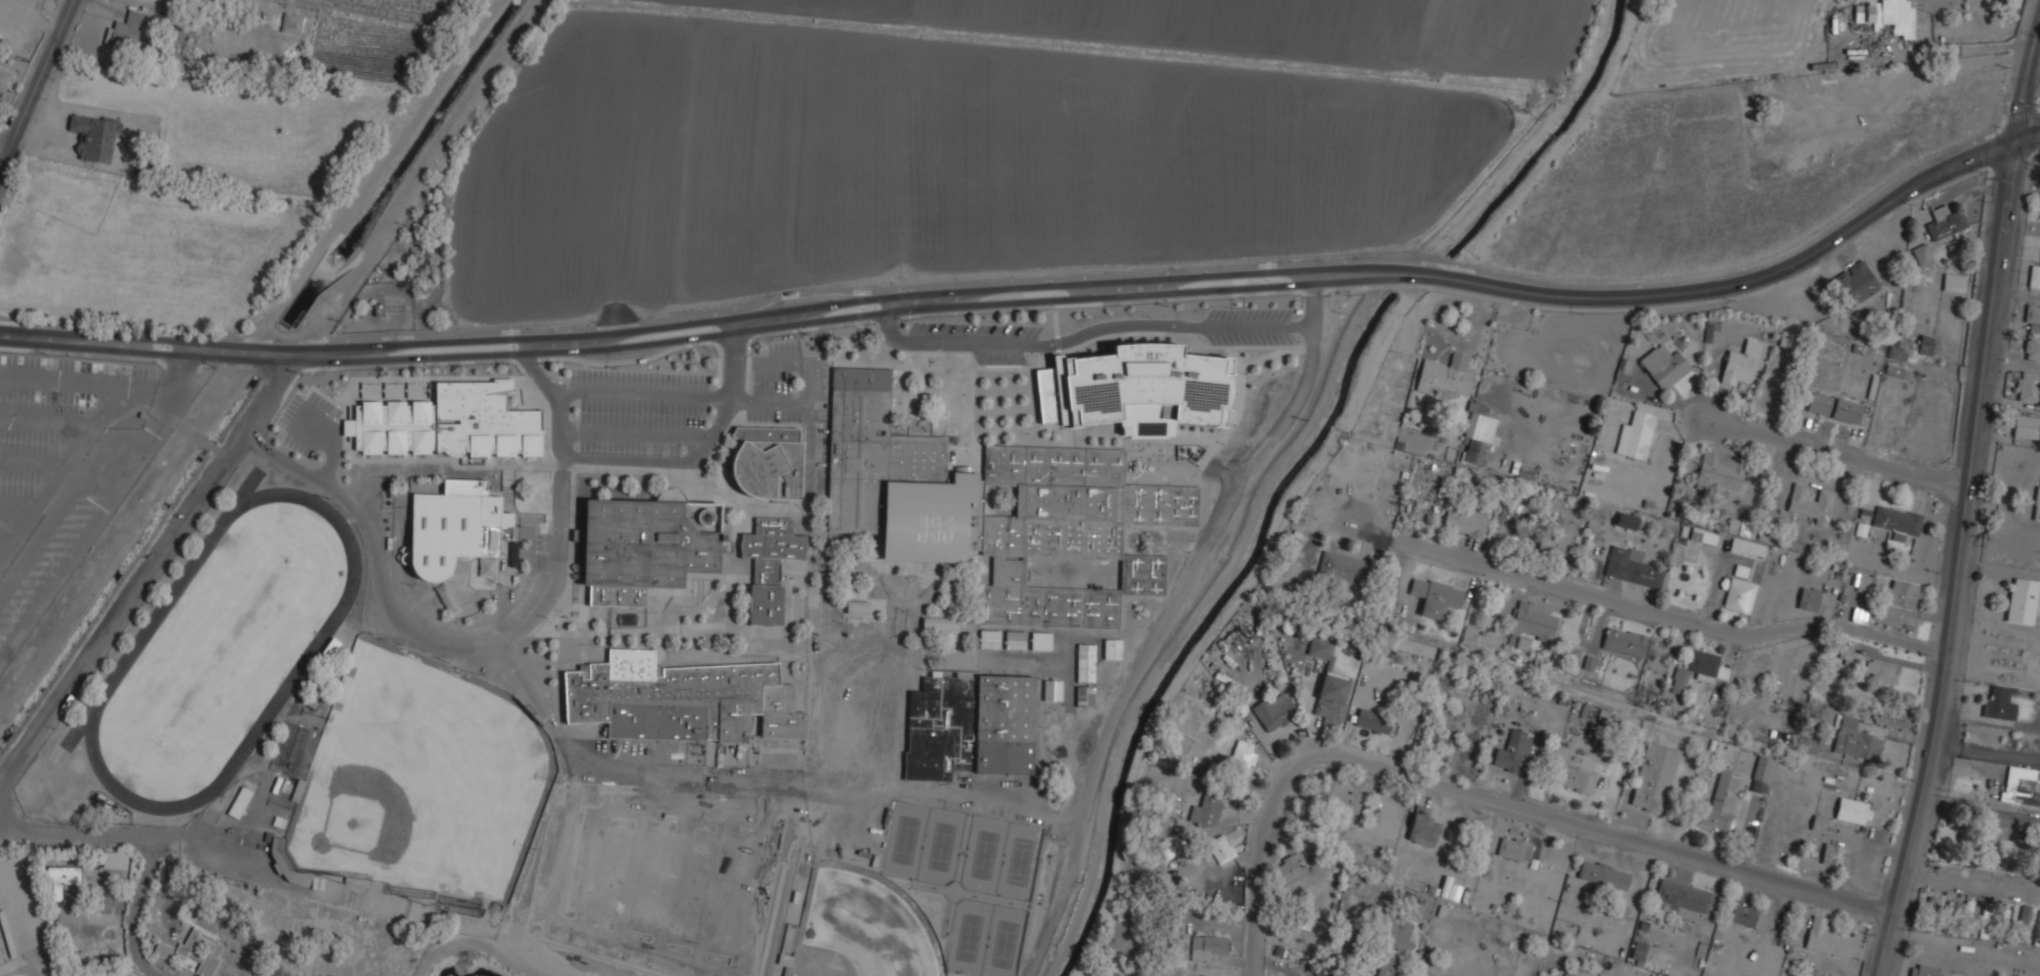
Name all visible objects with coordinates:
building: (167, 1)
building: (1887, 15)
building: (291, 22)
building: (124, 30)
building: (3, 78)
road: (36, 82)
road: (2027, 90)
building: (1773, 128)
road: (2027, 141)
building: (124, 143)
road: (3, 149)
road: (367, 177)
road: (1885, 206)
building: (1944, 223)
building: (1921, 255)
building: (2034, 277)
road: (1265, 279)
building: (1954, 283)
building: (1854, 284)
road: (880, 297)
road: (938, 300)
street lamp: (1731, 301)
road: (1104, 302)
road: (859, 309)
road: (882, 313)
parking lot: (1248, 314)
building: (2032, 314)
road: (784, 317)
road: (889, 318)
street lamp: (906, 320)
road: (1105, 327)
parking lot: (1317, 328)
parking lot: (983, 329)
road: (806, 330)
road: (1094, 338)
parking lot: (1247, 339)
road: (732, 342)
road: (1056, 343)
road: (509, 345)
road: (161, 346)
parking lot: (783, 346)
building: (1911, 348)
building: (2032, 348)
road: (648, 358)
building: (1741, 363)
building: (1224, 364)
building: (1663, 366)
road: (559, 370)
building: (1894, 371)
street lamp: (297, 374)
building: (1446, 374)
road: (537, 376)
parking lot: (772, 376)
road: (86, 378)
street lamp: (780, 383)
building: (1107, 383)
building: (2028, 386)
building: (1268, 387)
road: (730, 389)
parking lot: (771, 389)
building: (1200, 389)
road: (723, 397)
road: (744, 401)
road: (1238, 406)
building: (1834, 408)
parking lot: (638, 409)
road: (740, 418)
building: (1219, 418)
building: (448, 421)
road: (49, 422)
building: (1143, 422)
parking lot: (306, 423)
road: (1282, 425)
road: (804, 426)
building: (2026, 427)
parking lot: (53, 432)
road: (634, 433)
building: (1478, 434)
building: (1635, 435)
road: (333, 447)
road: (701, 449)
road: (1835, 450)
road: (1125, 455)
parking lot: (820, 459)
road: (35, 462)
building: (767, 462)
road: (804, 462)
road: (1203, 463)
road: (683, 471)
building: (1718, 472)
road: (65, 473)
road: (1195, 476)
road: (21, 503)
road: (66, 504)
building: (1810, 504)
building: (2037, 505)
road: (101, 507)
building: (991, 508)
building: (1464, 521)
building: (1626, 521)
building: (1897, 522)
building: (453, 525)
building: (1740, 528)
building: (1703, 536)
road: (1382, 537)
road: (7, 542)
building: (1551, 545)
building: (645, 546)
building: (1748, 547)
road: (1957, 562)
building: (769, 566)
building: (1631, 567)
building: (1343, 570)
building: (1740, 570)
road: (146, 577)
building: (1868, 584)
building: (1901, 594)
building: (1739, 595)
building: (1435, 597)
building: (1808, 599)
building: (2021, 601)
building: (1385, 603)
building: (857, 607)
road: (1198, 610)
building: (1858, 615)
road: (1689, 618)
building: (1533, 622)
building: (938, 623)
building: (1468, 633)
building: (988, 638)
building: (1234, 638)
building: (1014, 639)
building: (1040, 640)
building: (1624, 641)
road: (451, 644)
building: (1321, 647)
building: (1112, 648)
park: (219, 651)
building: (1845, 653)
track: (307, 656)
building: (1084, 662)
building: (1588, 663)
building: (1698, 669)
building: (1111, 672)
building: (1881, 673)
building: (1051, 689)
building: (1083, 695)
building: (681, 699)
building: (1331, 700)
building: (1998, 704)
building: (1274, 711)
road: (1113, 715)
building: (925, 721)
building: (1372, 721)
building: (1053, 724)
building: (1855, 740)
building: (1512, 751)
building: (1052, 755)
building: (1242, 755)
building: (1761, 774)
road: (694, 775)
park: (423, 777)
building: (1654, 777)
building: (1578, 780)
building: (2020, 786)
road: (1489, 793)
building: (1338, 796)
building: (239, 802)
building: (1721, 802)
building: (1852, 811)
building: (1206, 812)
building: (1819, 823)
building: (1422, 828)
parking lot: (852, 829)
road: (71, 835)
park: (903, 840)
building: (1171, 845)
park: (939, 846)
building: (1220, 849)
building: (1513, 849)
building: (1833, 853)
park: (982, 855)
building: (114, 860)
park: (1019, 861)
building: (1287, 869)
building: (1603, 875)
road: (1971, 881)
building: (1679, 898)
building: (104, 904)
road: (135, 910)
building: (2024, 913)
building: (1747, 916)
park: (862, 928)
park: (968, 936)
building: (1826, 939)
park: (1003, 942)
building: (1393, 946)
road: (488, 947)
building: (1207, 947)
building: (162, 950)
building: (201, 951)
building: (1638, 951)
building: (1922, 971)

